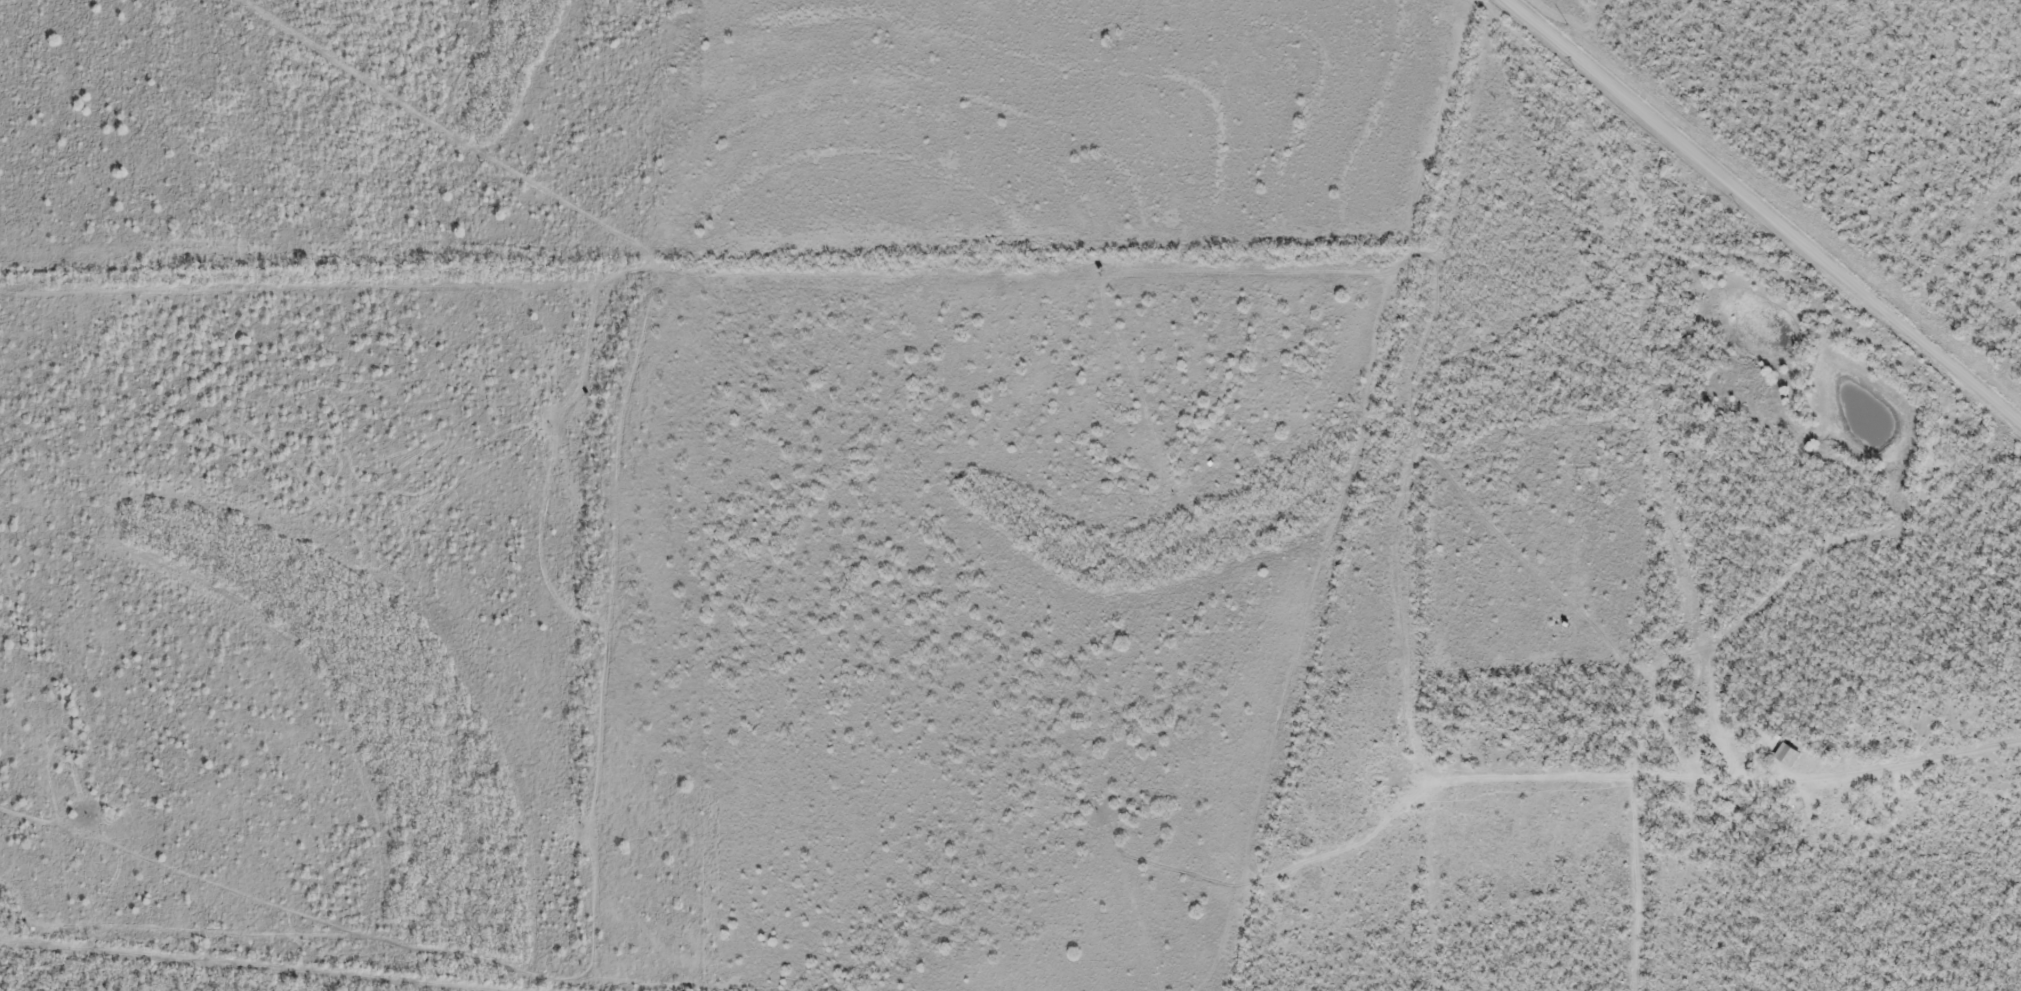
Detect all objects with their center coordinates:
road: (1761, 214)
building: (1785, 754)

